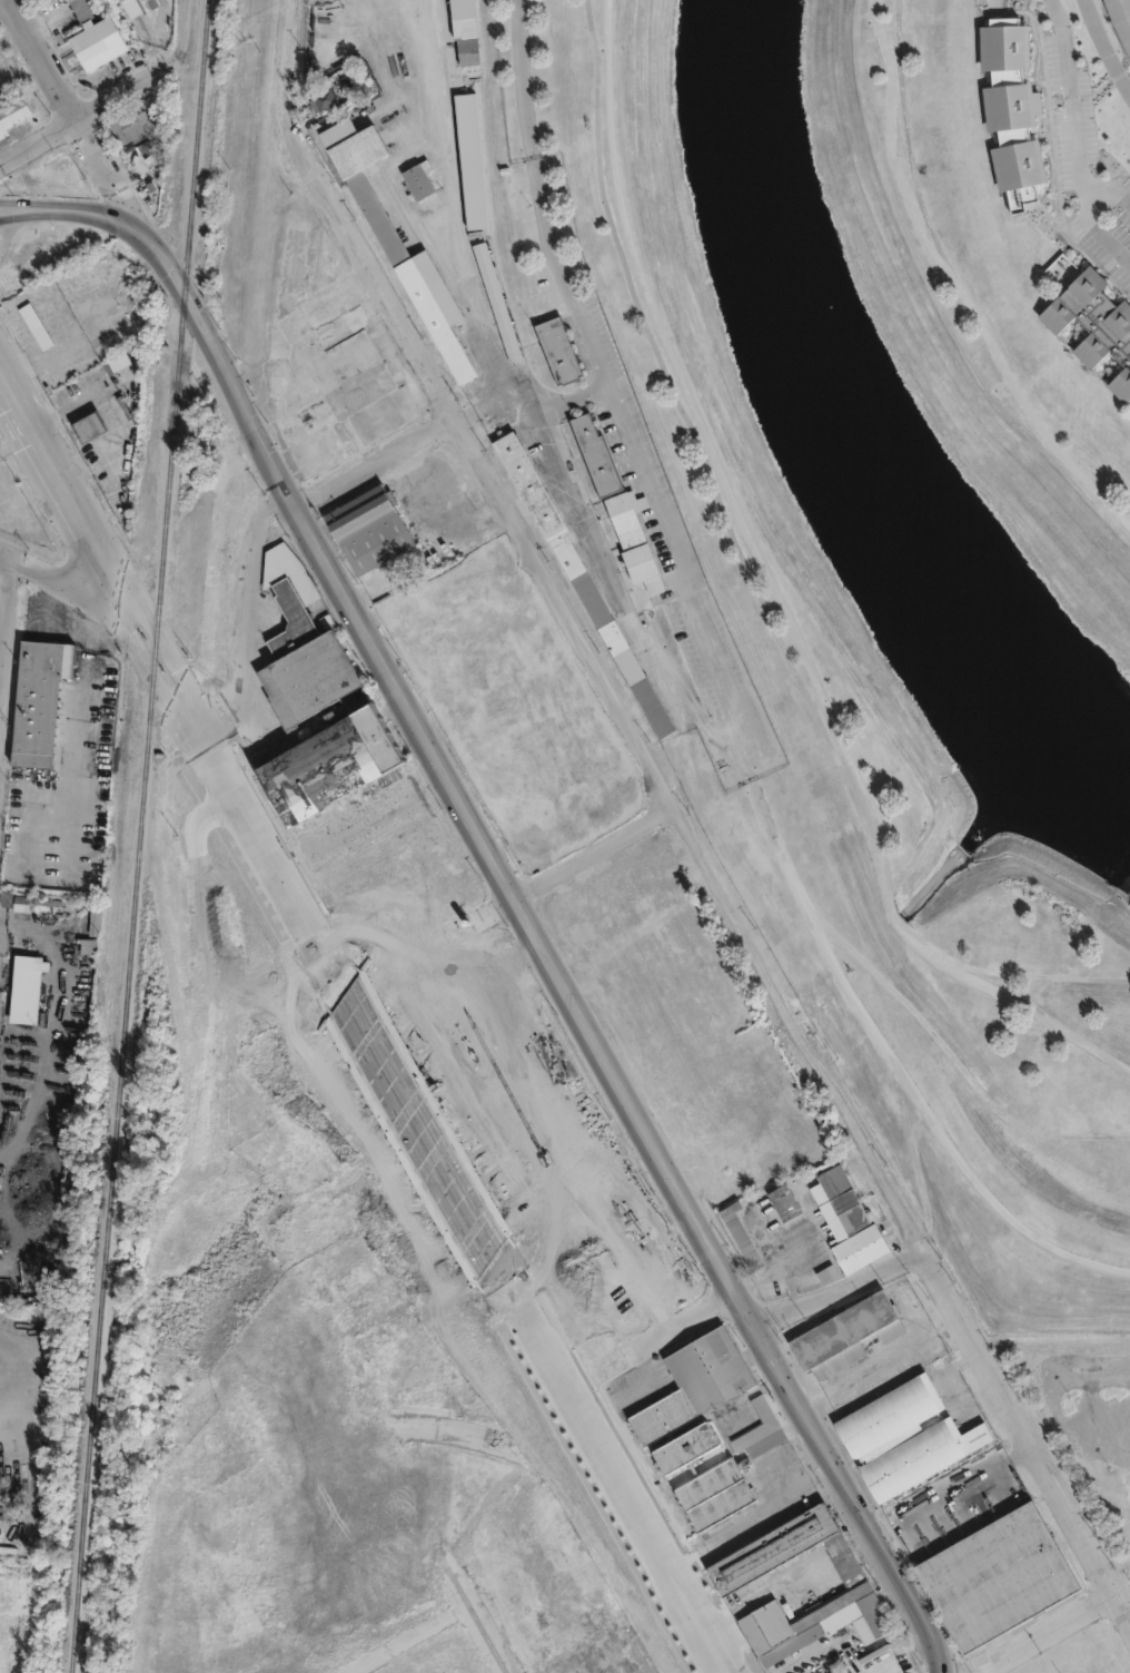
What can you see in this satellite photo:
building: (148, 4)
road: (187, 7)
building: (466, 32)
building: (97, 41)
road: (1103, 48)
building: (319, 91)
building: (324, 99)
road: (109, 100)
building: (8, 105)
building: (1009, 108)
road: (73, 111)
road: (1074, 118)
building: (141, 131)
building: (472, 160)
building: (412, 174)
road: (66, 208)
road: (448, 215)
road: (1096, 230)
building: (390, 236)
road: (960, 286)
building: (497, 302)
building: (1088, 318)
building: (26, 322)
building: (37, 326)
building: (116, 332)
building: (559, 351)
building: (111, 356)
building: (82, 422)
river: (858, 437)
road: (414, 440)
road: (479, 460)
road: (53, 478)
building: (369, 530)
park: (875, 533)
road: (53, 579)
road: (784, 589)
road: (244, 613)
road: (4, 616)
building: (289, 616)
road: (726, 692)
building: (39, 703)
road: (228, 780)
building: (536, 786)
railway: (140, 836)
road: (593, 854)
building: (22, 903)
dam: (1129, 903)
building: (92, 931)
road: (538, 947)
road: (1041, 974)
building: (24, 988)
road: (419, 1128)
building: (785, 1200)
building: (250, 1214)
road: (901, 1214)
building: (847, 1217)
building: (745, 1237)
building: (827, 1275)
road: (836, 1289)
road: (912, 1316)
road: (685, 1325)
building: (846, 1334)
building: (398, 1358)
road: (878, 1361)
building: (256, 1362)
building: (694, 1384)
parking lot: (1094, 1429)
building: (904, 1436)
building: (685, 1446)
road: (762, 1457)
building: (344, 1466)
road: (608, 1467)
building: (728, 1472)
building: (229, 1486)
road: (949, 1486)
road: (751, 1519)
building: (733, 1576)
building: (995, 1578)
road: (462, 1591)
building: (246, 1603)
building: (403, 1605)
road: (1051, 1631)
road: (409, 1638)
building: (791, 1645)
road: (809, 1656)
building: (442, 1659)
road: (1017, 1661)

